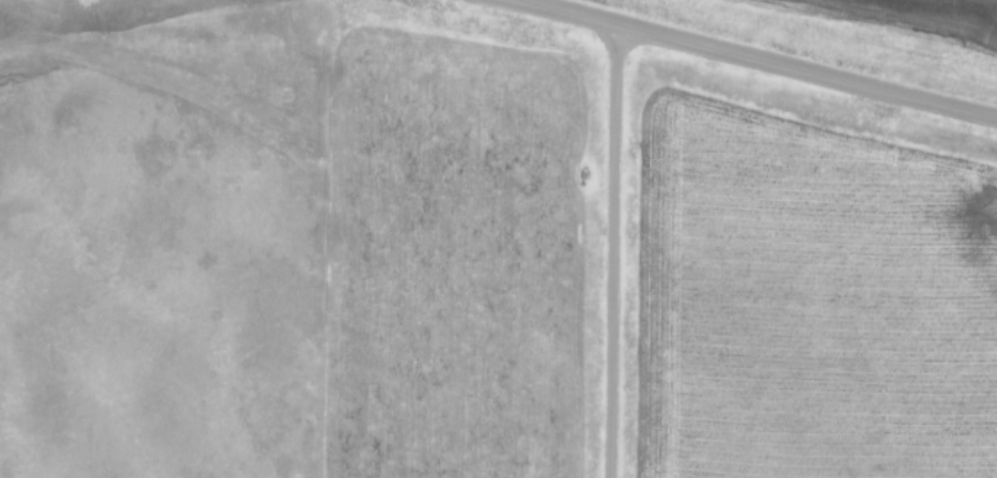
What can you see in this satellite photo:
road: (748, 64)
road: (616, 254)

